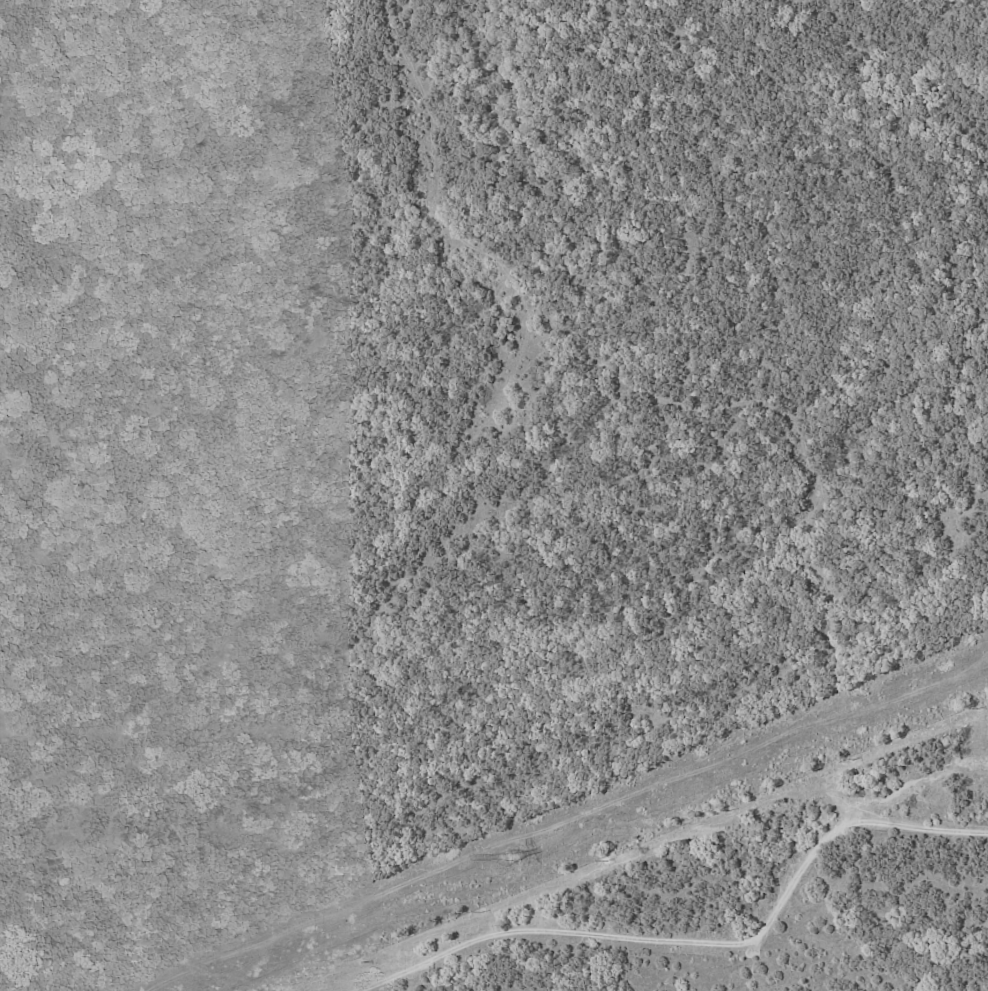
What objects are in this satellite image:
power tower: (507, 857)

